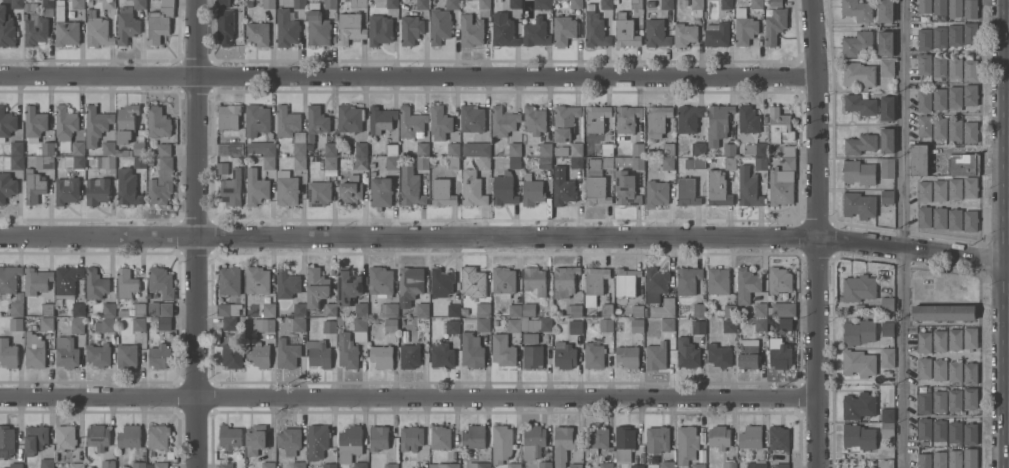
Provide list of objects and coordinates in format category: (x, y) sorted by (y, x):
building: (89, 2)
building: (615, 2)
building: (14, 3)
building: (223, 3)
building: (250, 3)
building: (776, 3)
building: (78, 4)
building: (109, 4)
building: (139, 4)
building: (168, 4)
building: (269, 4)
building: (300, 4)
building: (330, 4)
building: (391, 4)
building: (422, 4)
building: (452, 4)
building: (515, 4)
building: (542, 4)
building: (576, 4)
building: (606, 4)
building: (636, 4)
building: (667, 4)
building: (726, 4)
building: (757, 4)
building: (924, 6)
building: (27, 7)
building: (47, 7)
building: (940, 7)
building: (484, 8)
building: (697, 8)
building: (955, 8)
building: (970, 9)
building: (857, 10)
building: (885, 11)
building: (351, 23)
building: (126, 26)
building: (226, 26)
building: (318, 26)
building: (439, 26)
building: (775, 26)
building: (745, 27)
building: (6, 28)
building: (65, 28)
building: (156, 28)
building: (579, 28)
building: (287, 29)
building: (379, 29)
building: (595, 29)
building: (97, 30)
building: (333, 30)
building: (410, 30)
building: (504, 30)
building: (563, 30)
building: (36, 31)
building: (471, 31)
building: (625, 31)
building: (536, 33)
building: (656, 33)
building: (970, 33)
building: (258, 34)
building: (685, 34)
building: (716, 34)
building: (955, 35)
building: (939, 37)
building: (924, 39)
building: (857, 43)
building: (885, 43)
building: (924, 64)
building: (939, 66)
building: (887, 68)
building: (955, 68)
building: (970, 70)
building: (859, 75)
road: (407, 76)
building: (970, 95)
building: (954, 98)
building: (939, 99)
building: (924, 101)
building: (860, 104)
building: (887, 108)
building: (229, 117)
building: (349, 118)
building: (596, 118)
building: (627, 118)
building: (316, 119)
building: (381, 119)
building: (472, 119)
building: (688, 119)
building: (258, 120)
building: (534, 120)
building: (748, 120)
building: (288, 121)
building: (657, 121)
building: (7, 122)
building: (158, 122)
building: (439, 122)
building: (503, 122)
building: (565, 122)
building: (718, 122)
building: (127, 123)
building: (412, 123)
building: (35, 124)
building: (96, 125)
building: (924, 126)
building: (66, 127)
building: (940, 128)
building: (955, 130)
building: (781, 131)
building: (970, 132)
building: (310, 138)
building: (887, 140)
building: (140, 144)
building: (300, 144)
building: (860, 144)
building: (78, 148)
building: (109, 148)
building: (262, 148)
building: (330, 148)
building: (422, 148)
building: (17, 149)
building: (45, 149)
building: (164, 149)
building: (230, 149)
building: (361, 149)
building: (391, 149)
building: (453, 149)
building: (476, 149)
building: (515, 149)
building: (545, 149)
building: (576, 149)
building: (637, 149)
building: (668, 149)
building: (699, 149)
building: (729, 149)
building: (756, 149)
building: (607, 150)
road: (967, 150)
building: (561, 151)
building: (124, 153)
building: (920, 159)
building: (13, 162)
building: (44, 162)
building: (74, 162)
building: (107, 162)
building: (140, 162)
building: (268, 162)
building: (321, 162)
building: (330, 162)
building: (361, 162)
building: (391, 162)
building: (422, 162)
building: (515, 162)
building: (546, 162)
building: (577, 162)
building: (630, 162)
building: (300, 163)
building: (453, 163)
building: (668, 163)
building: (699, 163)
building: (371, 164)
building: (482, 164)
building: (689, 164)
building: (730, 164)
building: (761, 164)
building: (788, 164)
building: (963, 164)
building: (599, 165)
building: (887, 168)
building: (859, 172)
building: (372, 173)
building: (162, 183)
building: (230, 183)
building: (7, 187)
building: (34, 187)
building: (127, 187)
building: (562, 187)
building: (971, 187)
building: (257, 188)
building: (410, 188)
building: (748, 188)
building: (955, 188)
building: (287, 189)
building: (472, 189)
building: (504, 189)
building: (626, 189)
building: (718, 189)
building: (781, 189)
building: (350, 190)
building: (940, 190)
building: (67, 191)
building: (98, 191)
building: (380, 191)
building: (532, 191)
building: (596, 191)
building: (925, 191)
building: (318, 192)
building: (442, 192)
building: (686, 192)
building: (657, 193)
building: (887, 197)
building: (859, 205)
building: (924, 217)
building: (940, 218)
building: (955, 219)
building: (970, 221)
road: (816, 233)
road: (902, 233)
road: (195, 234)
road: (505, 234)
building: (67, 279)
building: (230, 280)
building: (257, 280)
building: (688, 280)
building: (780, 280)
building: (36, 281)
building: (381, 281)
building: (534, 281)
building: (565, 281)
building: (626, 281)
building: (718, 281)
building: (473, 282)
building: (503, 282)
building: (127, 283)
building: (161, 283)
building: (287, 283)
building: (441, 283)
building: (95, 284)
building: (409, 284)
building: (594, 284)
building: (656, 284)
building: (747, 285)
building: (348, 286)
building: (316, 287)
building: (11, 288)
building: (858, 288)
building: (887, 303)
building: (663, 308)
building: (47, 309)
building: (78, 309)
building: (140, 309)
building: (160, 309)
building: (228, 309)
building: (267, 309)
building: (299, 309)
building: (329, 309)
building: (361, 309)
building: (389, 309)
building: (422, 309)
building: (109, 310)
building: (453, 310)
building: (483, 310)
building: (514, 310)
building: (529, 310)
building: (574, 310)
building: (606, 310)
building: (617, 310)
building: (638, 310)
building: (699, 310)
building: (761, 310)
building: (782, 310)
building: (730, 311)
building: (943, 312)
building: (123, 313)
building: (340, 321)
building: (750, 321)
building: (230, 323)
building: (298, 323)
building: (495, 323)
building: (785, 323)
building: (16, 324)
building: (46, 324)
building: (139, 324)
building: (165, 324)
building: (537, 324)
building: (667, 324)
building: (761, 324)
building: (105, 325)
building: (264, 325)
building: (390, 325)
building: (483, 325)
building: (515, 325)
building: (606, 325)
building: (636, 325)
building: (77, 326)
building: (729, 326)
building: (328, 327)
building: (452, 327)
building: (576, 327)
building: (699, 327)
building: (421, 329)
building: (887, 329)
building: (360, 330)
building: (859, 332)
building: (530, 338)
building: (970, 338)
building: (955, 339)
building: (939, 341)
building: (924, 342)
building: (472, 350)
building: (503, 350)
building: (34, 351)
building: (347, 352)
building: (66, 353)
building: (232, 353)
building: (287, 353)
building: (748, 353)
building: (8, 354)
building: (319, 354)
building: (594, 354)
building: (687, 354)
building: (780, 354)
building: (98, 355)
building: (259, 355)
building: (441, 355)
building: (565, 355)
building: (656, 355)
building: (719, 355)
building: (127, 356)
building: (160, 356)
building: (409, 356)
building: (533, 356)
building: (628, 356)
building: (381, 357)
building: (887, 357)
building: (858, 363)
building: (924, 368)
building: (939, 370)
building: (955, 372)
building: (970, 373)
road: (408, 396)
building: (970, 398)
building: (954, 399)
building: (939, 400)
building: (924, 403)
building: (859, 406)
building: (887, 415)
building: (887, 429)
building: (924, 429)
building: (940, 430)
building: (955, 432)
building: (970, 434)
building: (130, 436)
building: (159, 436)
building: (859, 436)
building: (98, 437)
building: (230, 437)
building: (411, 437)
building: (440, 437)
building: (474, 437)
building: (719, 437)
building: (751, 437)
building: (65, 438)
building: (378, 438)
building: (778, 438)
building: (35, 439)
building: (255, 439)
building: (657, 439)
building: (289, 440)
building: (596, 440)
building: (316, 441)
building: (6, 442)
building: (534, 442)
building: (349, 443)
building: (624, 444)
building: (686, 444)
building: (563, 445)
building: (503, 446)
building: (955, 458)
building: (970, 458)
building: (940, 460)
building: (924, 461)
building: (47, 463)
building: (108, 464)
building: (160, 464)
building: (668, 464)
building: (16, 465)
building: (78, 465)
building: (138, 465)
building: (225, 465)
building: (267, 465)
building: (298, 465)
building: (360, 465)
building: (390, 465)
building: (445, 465)
building: (478, 465)
building: (545, 465)
building: (606, 465)
building: (729, 465)
building: (756, 465)
building: (782, 465)
building: (329, 466)
building: (576, 466)
building: (637, 466)
building: (697, 466)
building: (419, 467)
building: (862, 467)
building: (866, 467)

